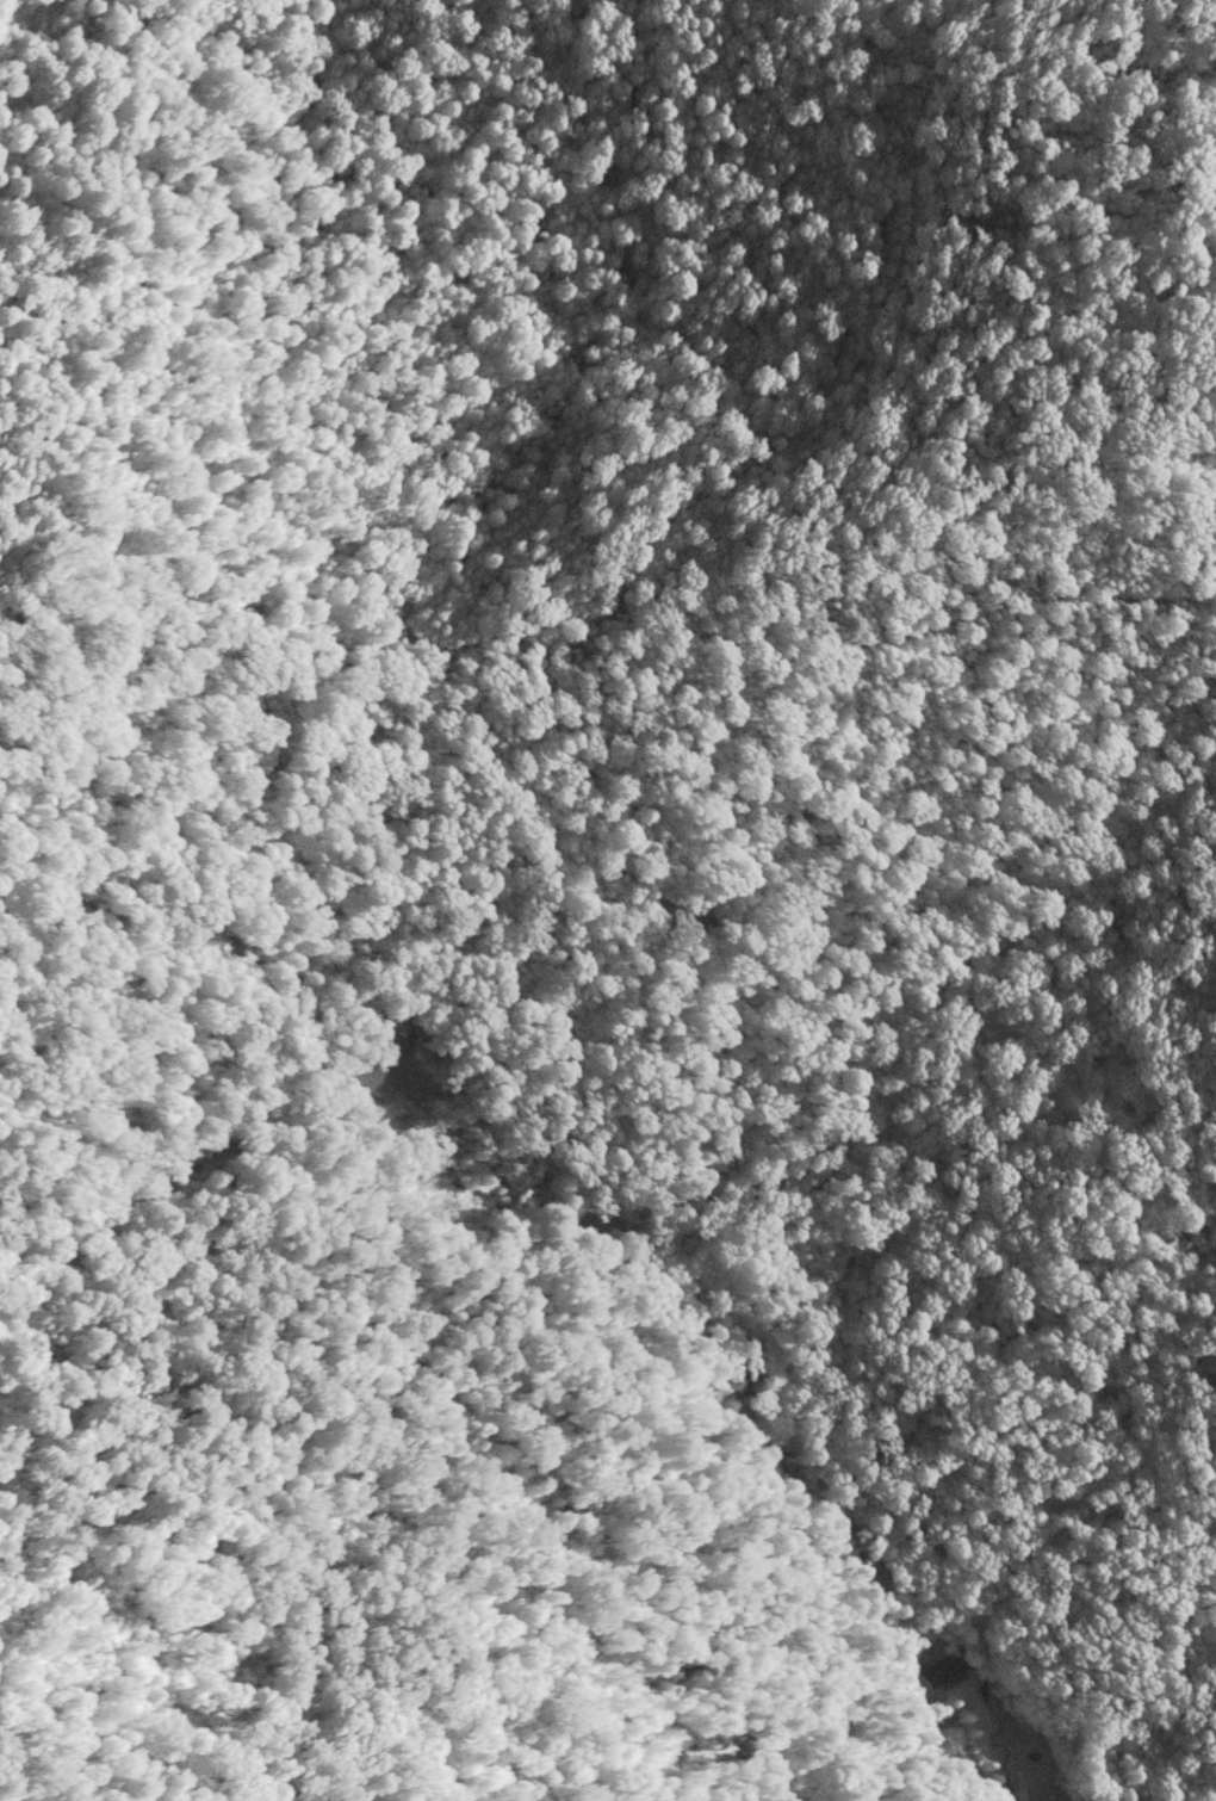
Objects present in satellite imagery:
road: (967, 1746)

